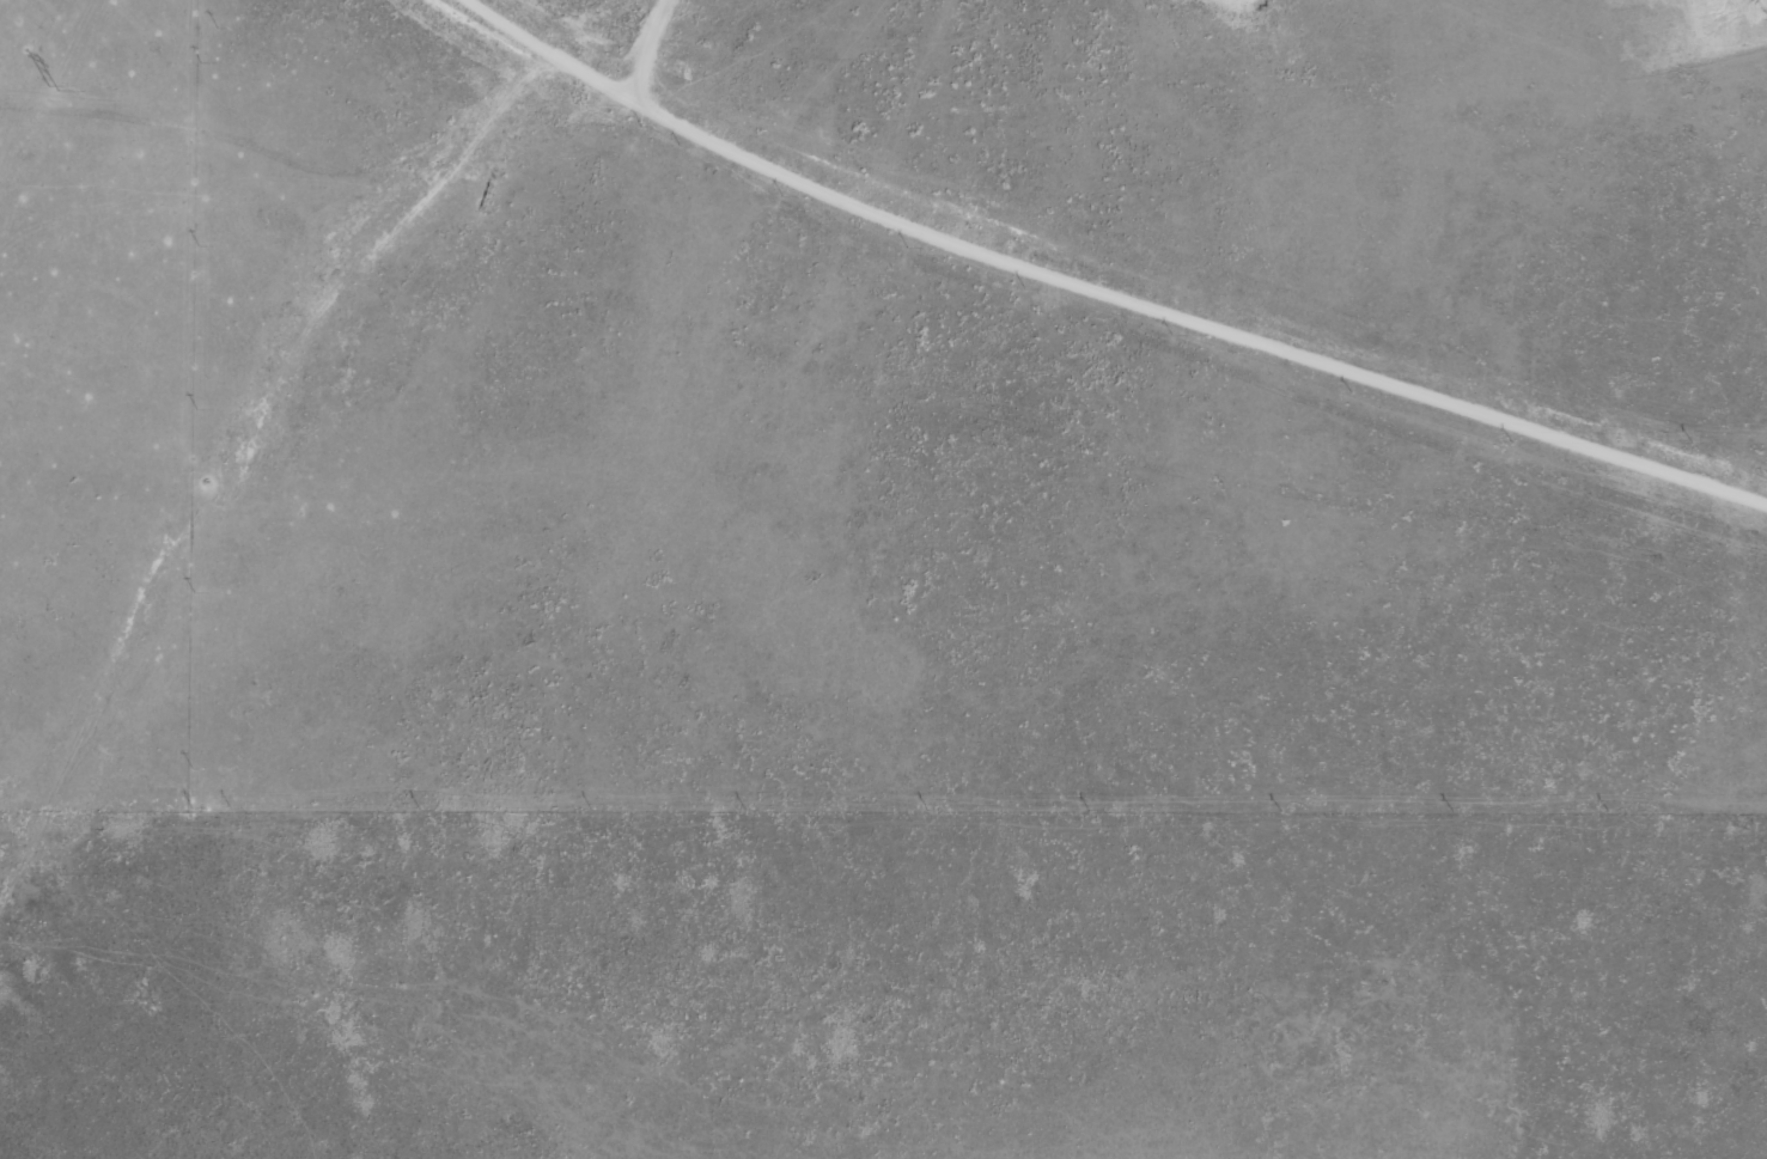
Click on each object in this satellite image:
road: (483, 47)
power tower: (56, 83)
road: (892, 211)

